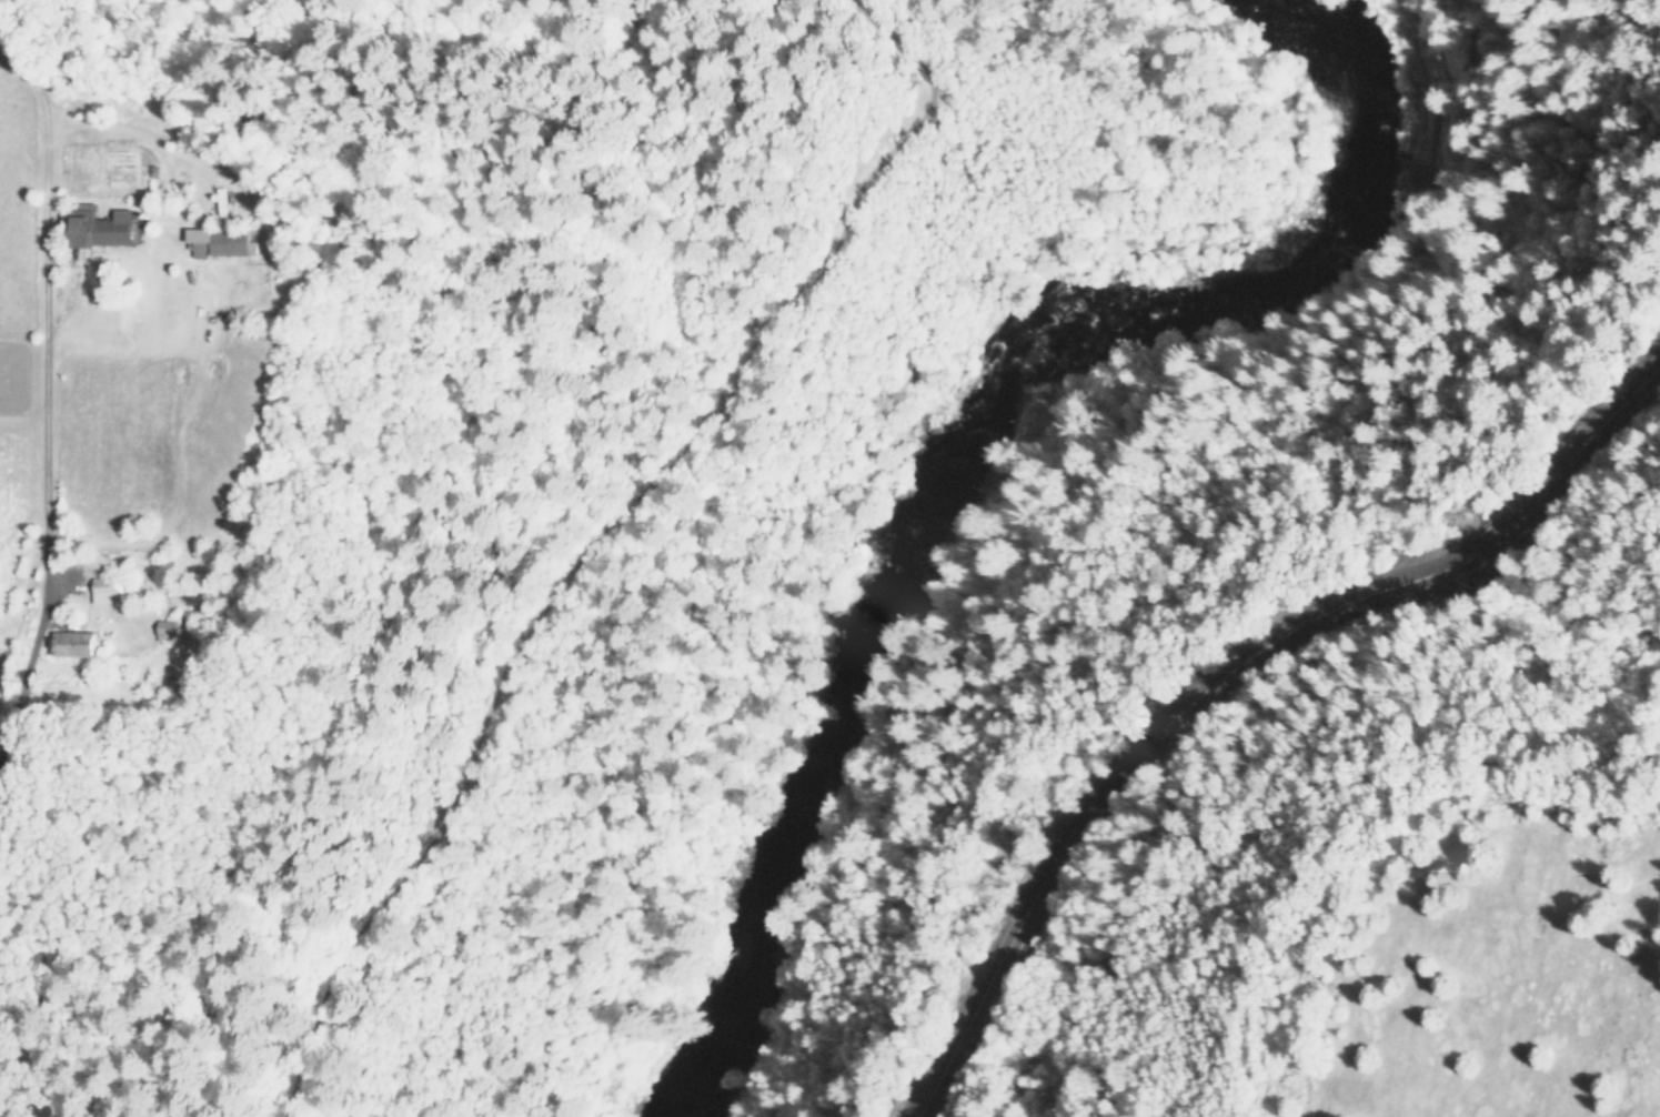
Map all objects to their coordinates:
building: (99, 228)
building: (217, 241)
river: (944, 455)
road: (625, 541)
building: (105, 588)
building: (167, 626)
building: (71, 644)
road: (1225, 671)
road: (30, 696)

